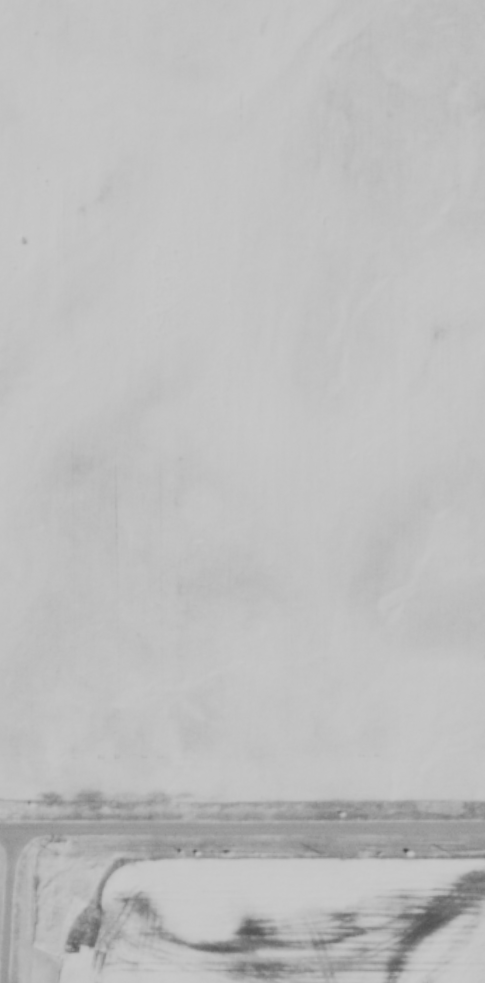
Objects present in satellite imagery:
road: (242, 826)

